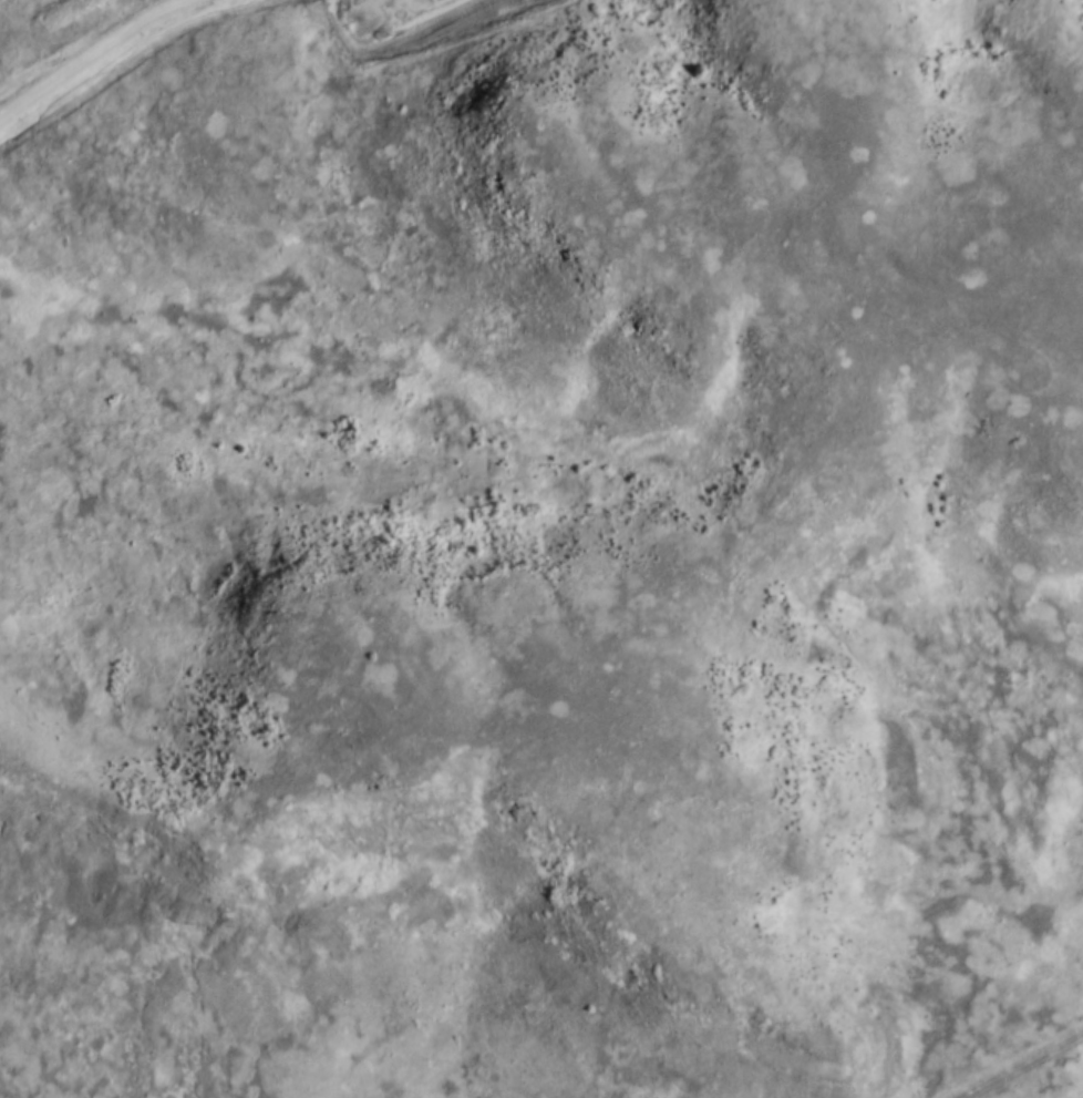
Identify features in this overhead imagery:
road: (1022, 1065)

